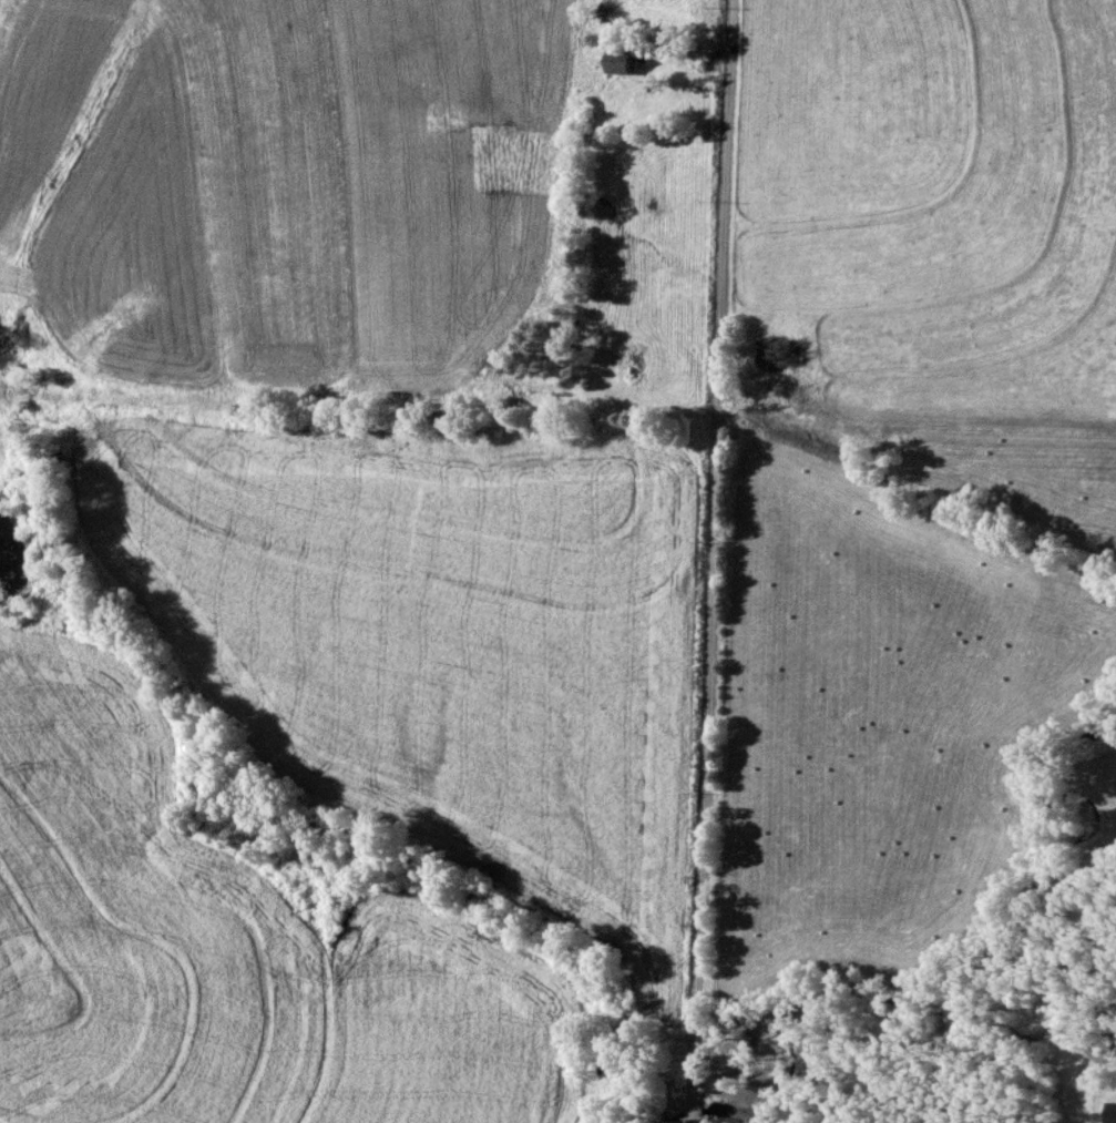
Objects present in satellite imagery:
building: (624, 63)
road: (710, 561)
building: (1114, 1113)

